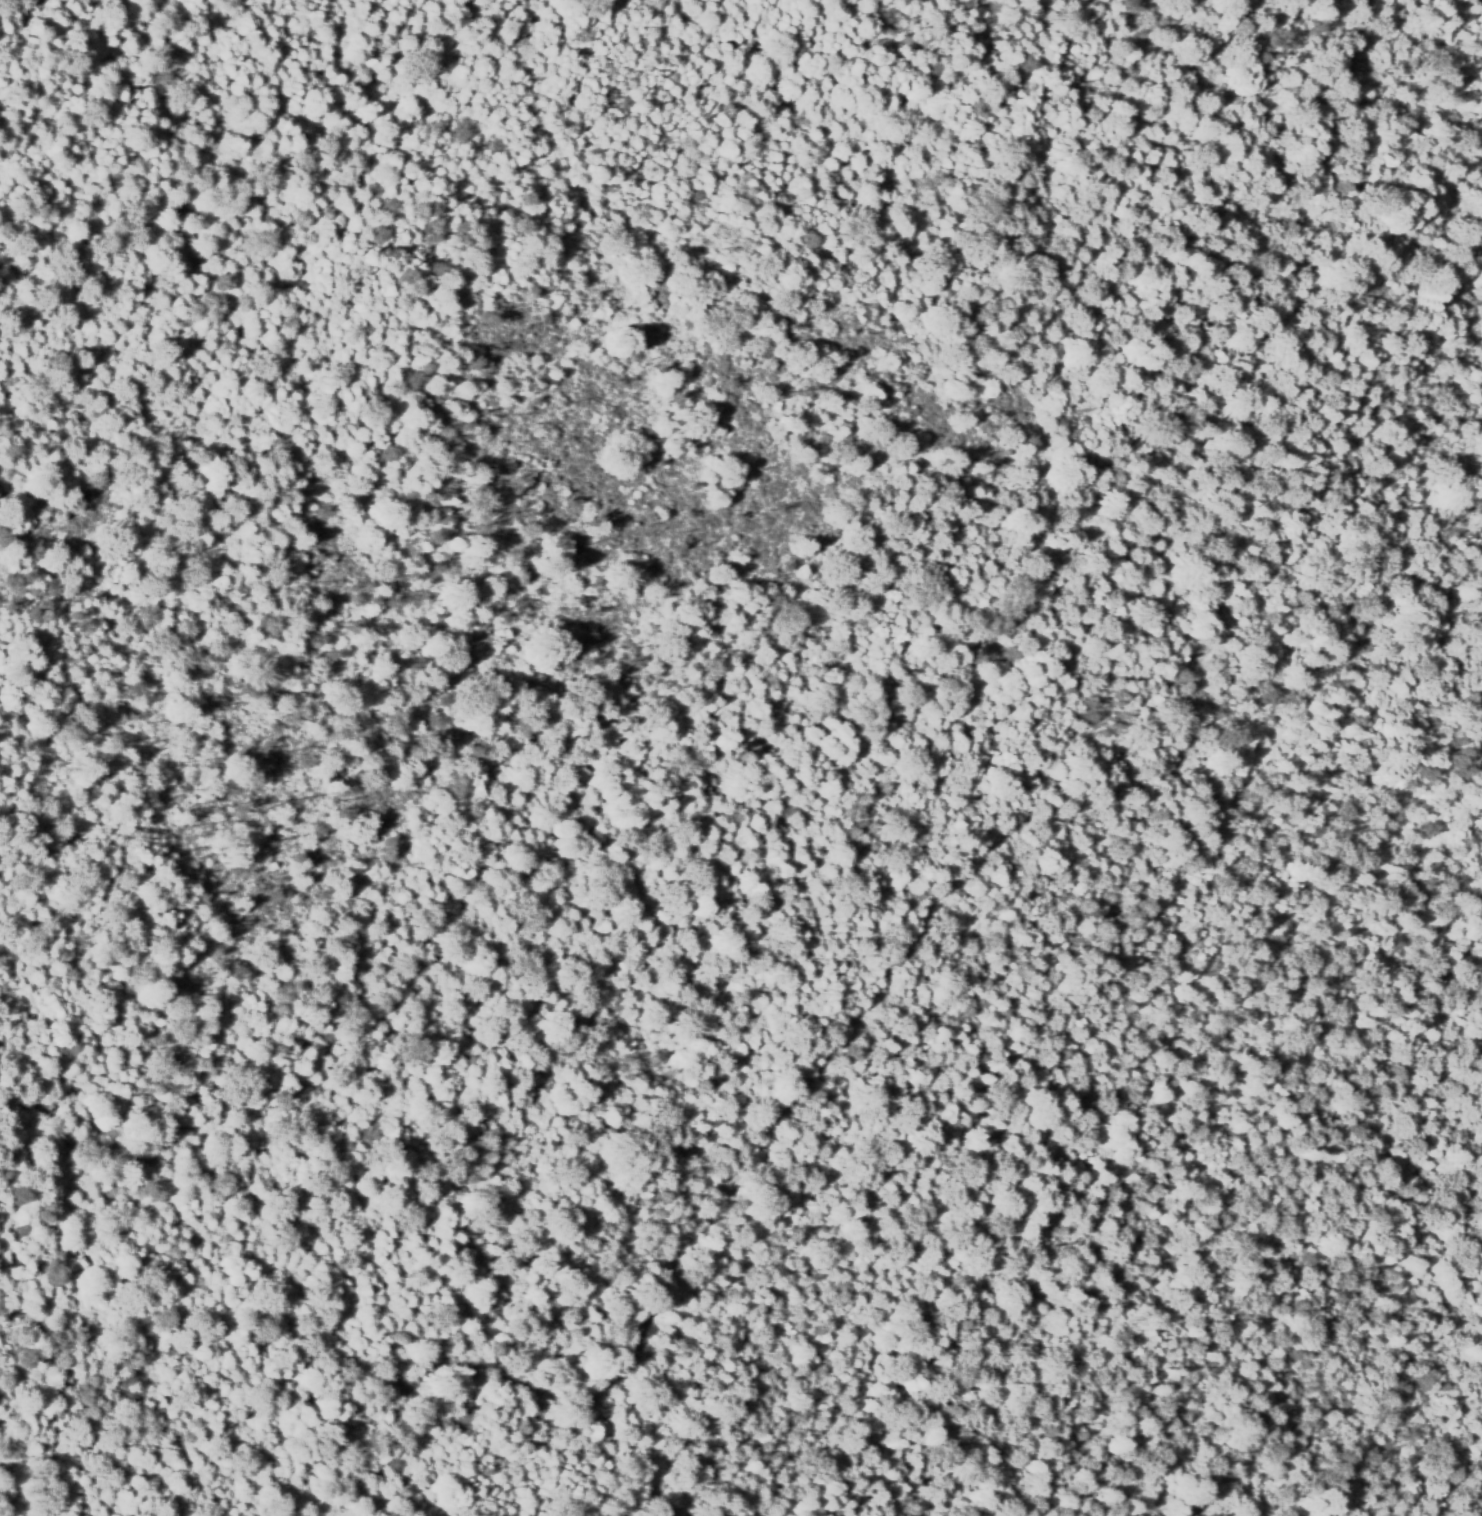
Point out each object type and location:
road: (896, 960)

